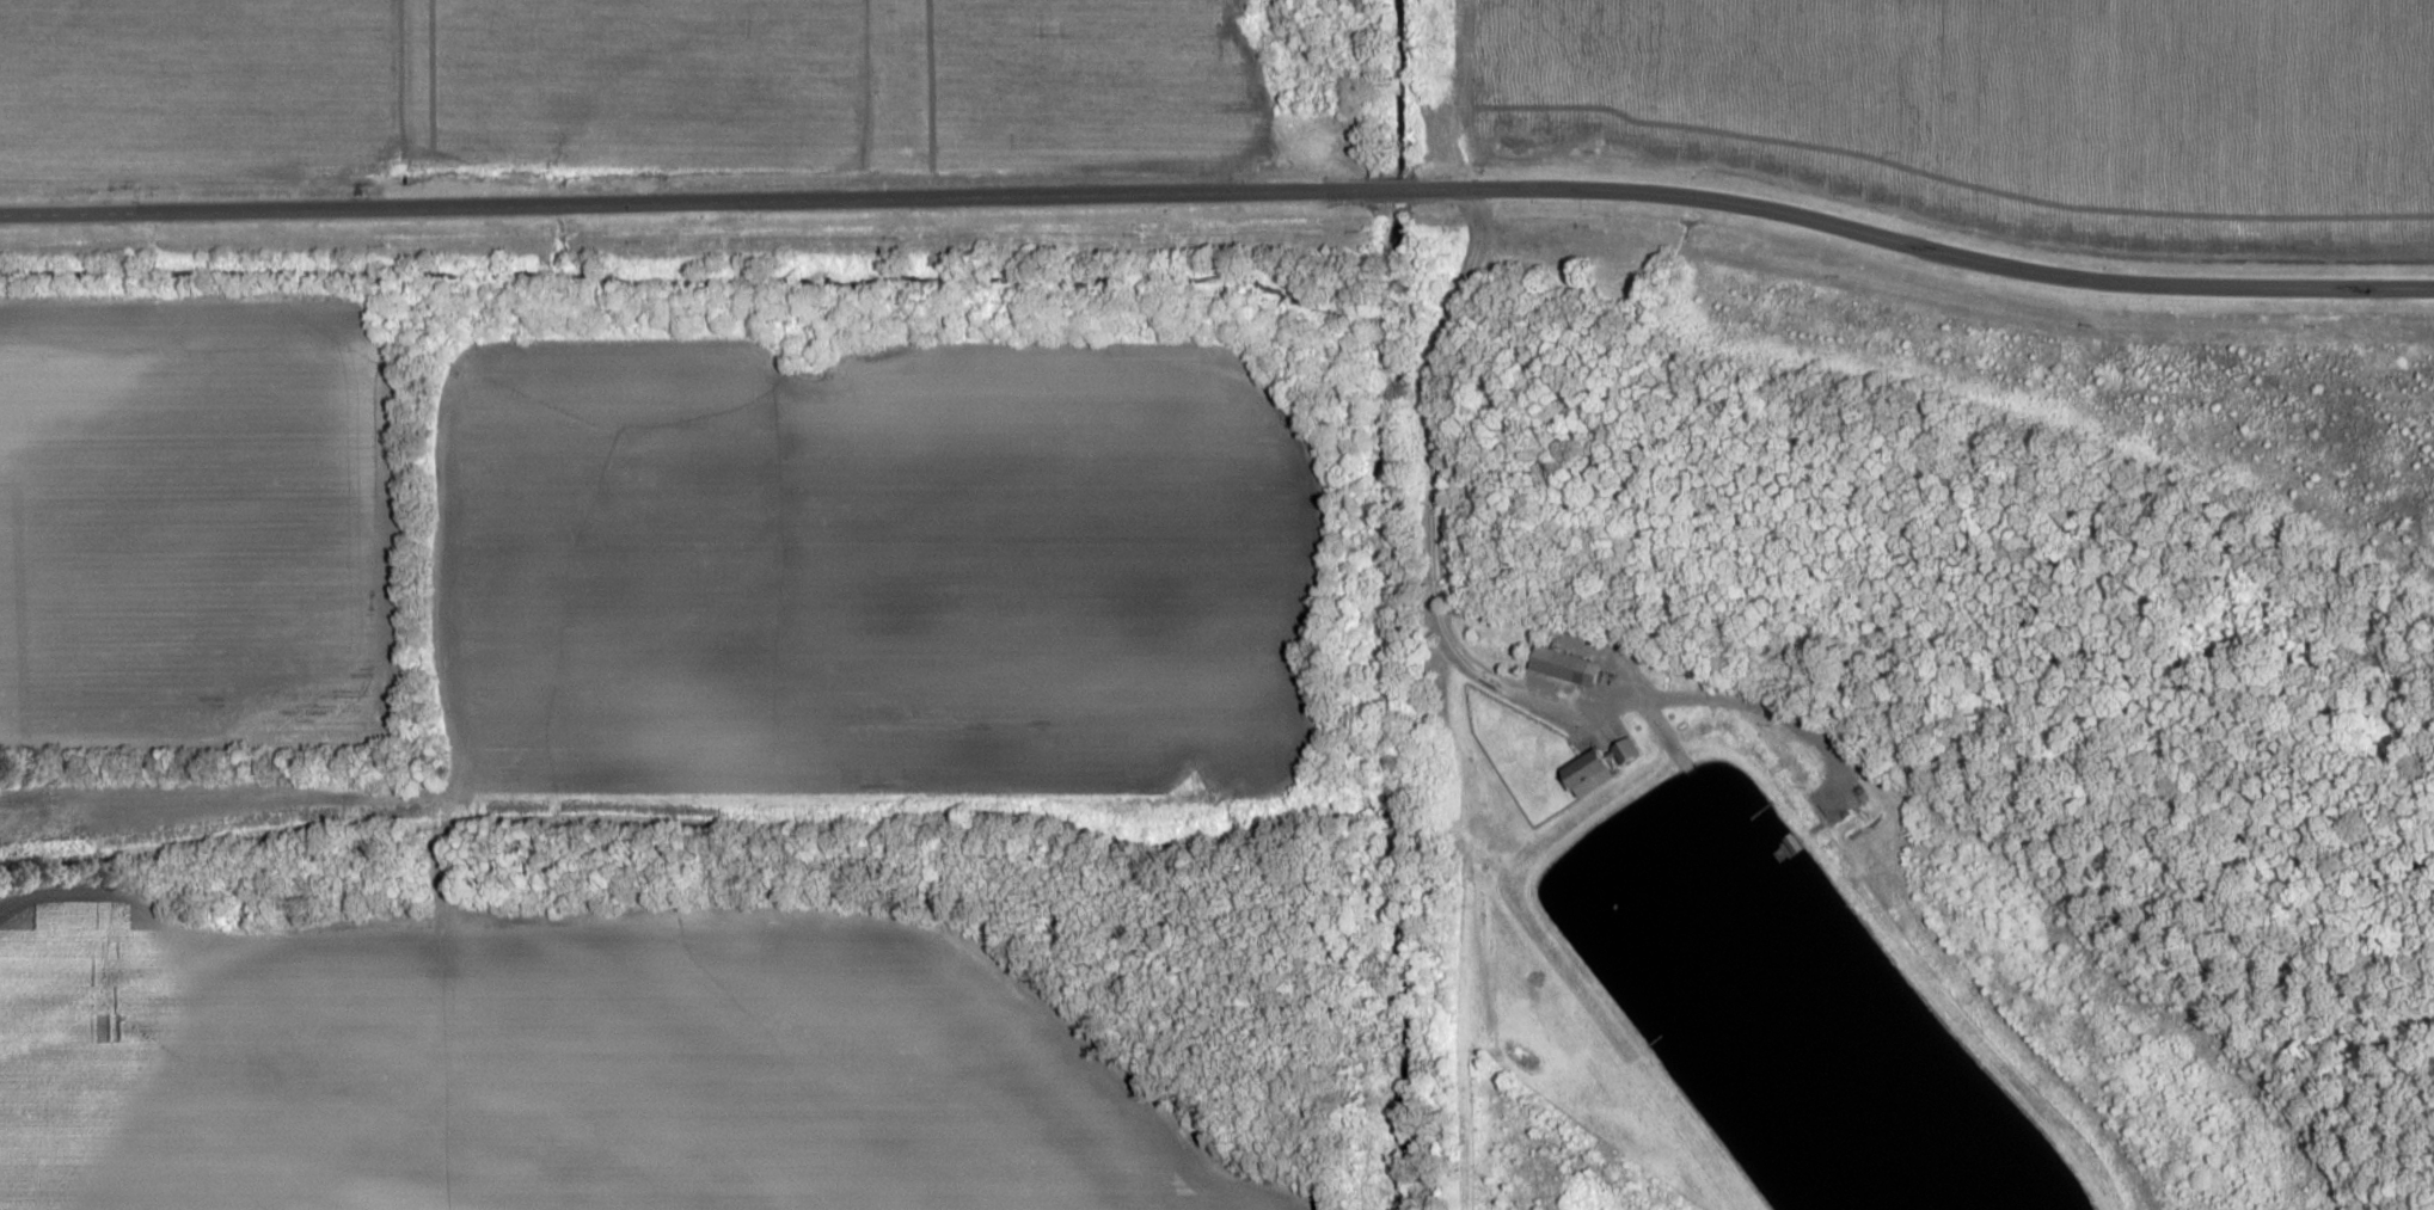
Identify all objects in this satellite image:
road: (685, 203)
road: (1900, 245)
road: (1448, 651)
building: (1558, 664)
building: (1625, 749)
building: (1584, 773)

